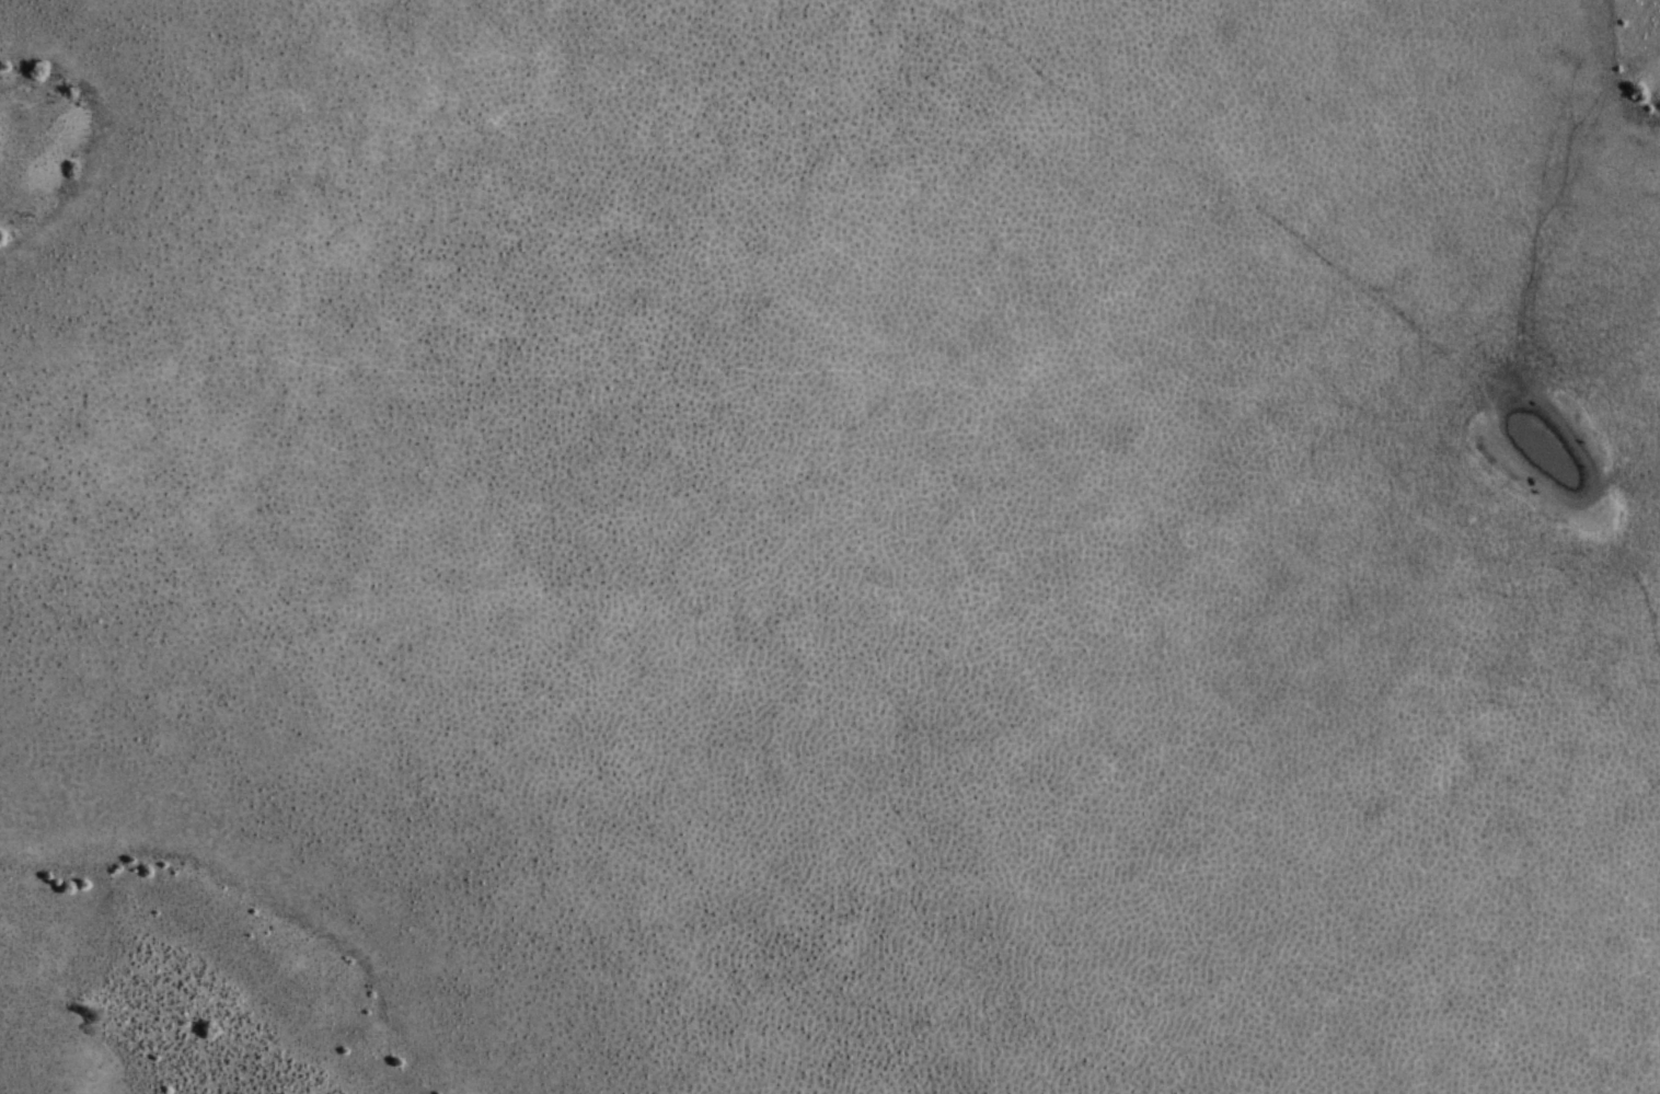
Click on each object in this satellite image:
wastewater plant: (1538, 426)

